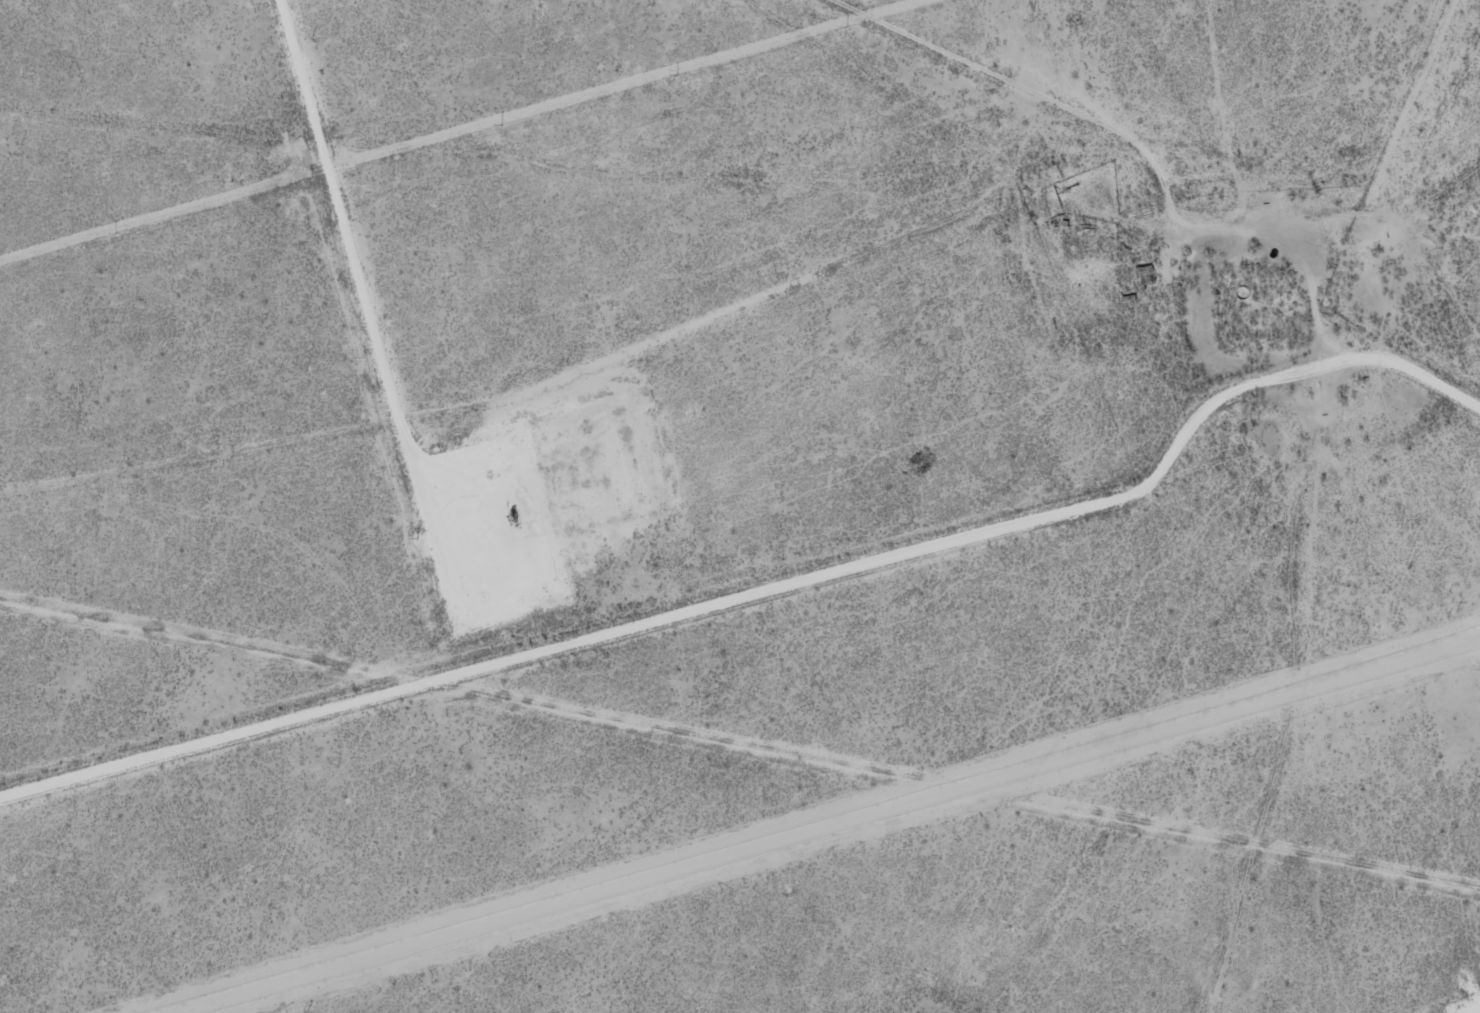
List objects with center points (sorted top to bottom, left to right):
road: (1404, 176)
petroleum well: (510, 519)

